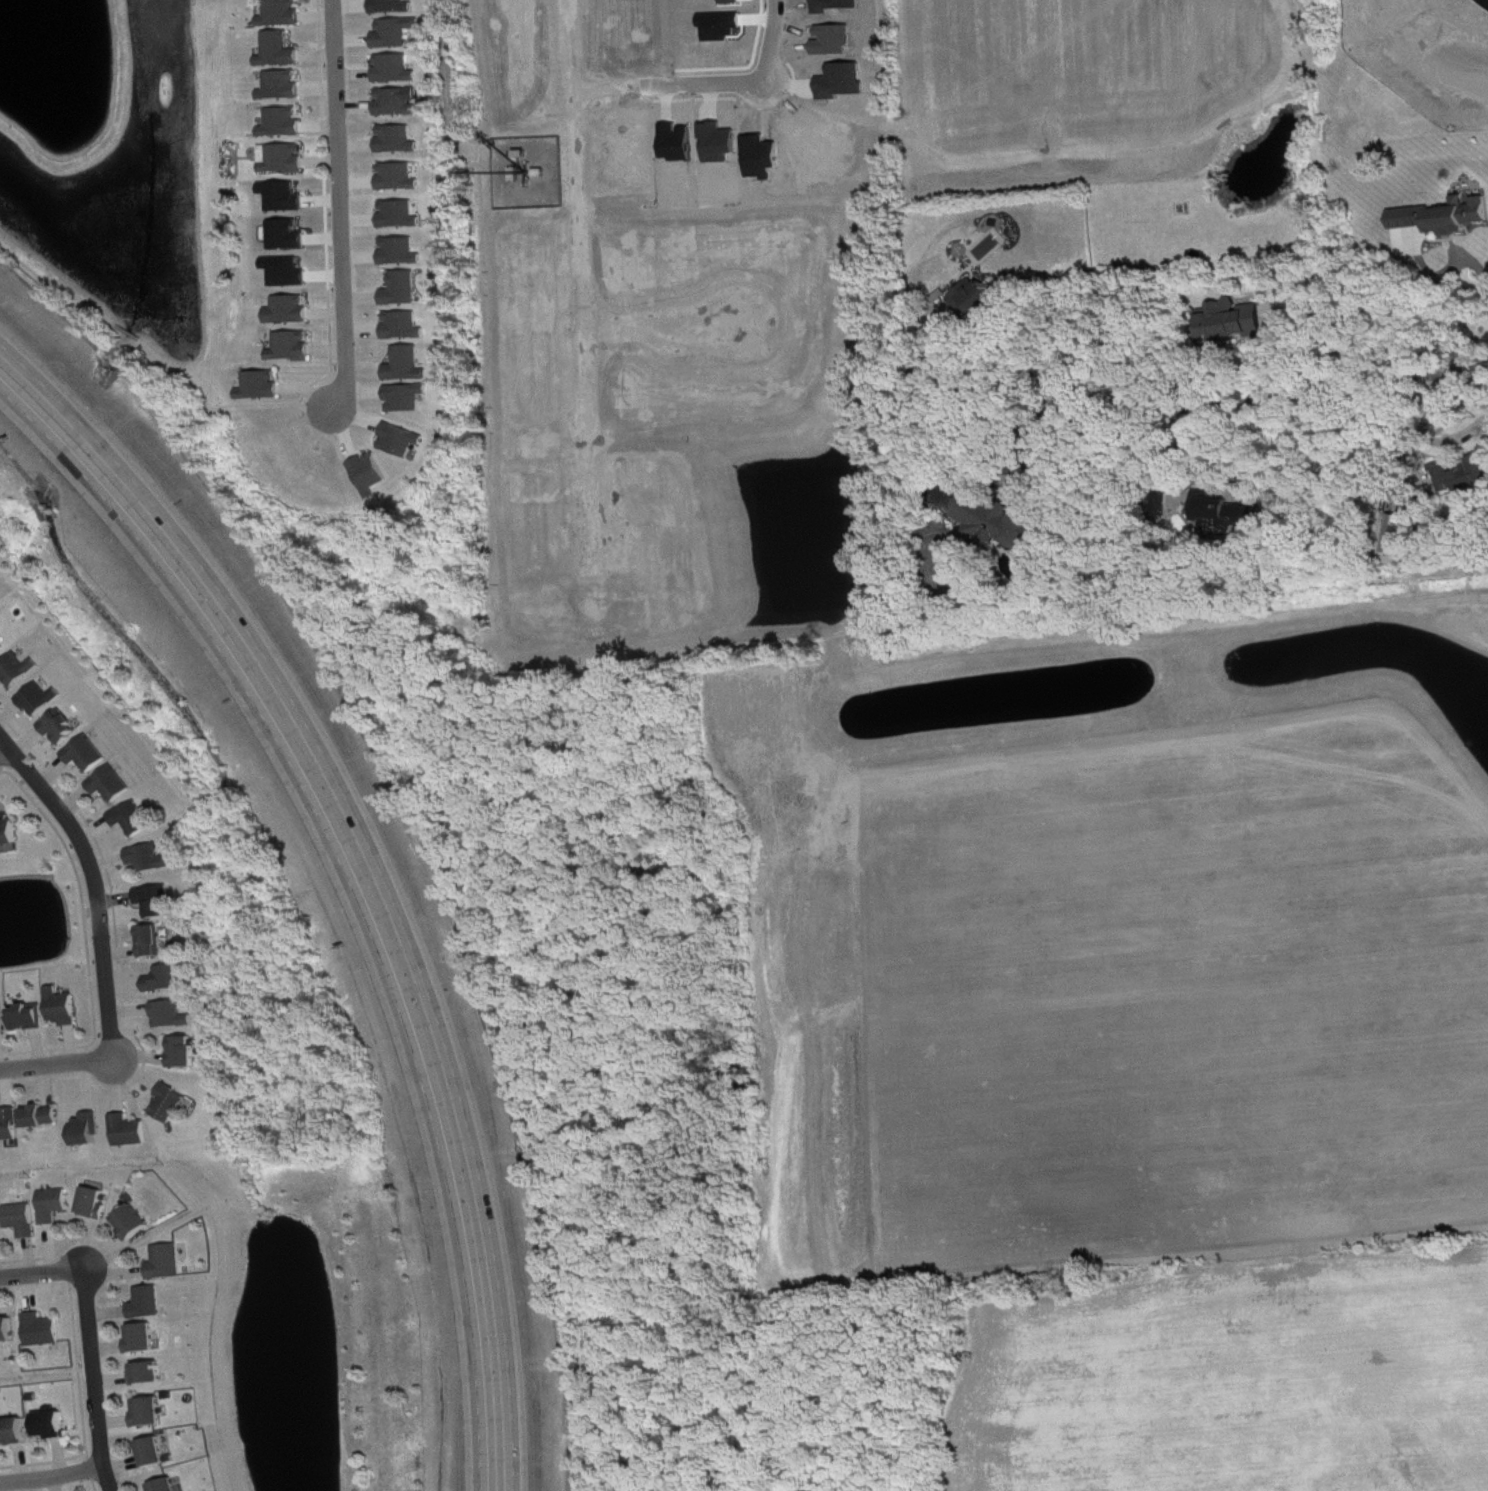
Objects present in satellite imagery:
building: (395, 6)
building: (284, 14)
building: (397, 33)
building: (281, 51)
building: (397, 69)
road: (761, 71)
road: (593, 81)
building: (283, 86)
building: (400, 102)
building: (286, 123)
building: (399, 140)
building: (285, 159)
building: (401, 177)
building: (287, 197)
road: (336, 206)
building: (402, 215)
building: (1445, 217)
building: (290, 235)
building: (403, 252)
building: (405, 289)
road: (1447, 294)
building: (976, 300)
building: (292, 310)
building: (1234, 322)
building: (406, 326)
building: (294, 347)
road: (159, 352)
road: (958, 364)
building: (410, 365)
building: (263, 386)
building: (409, 398)
road: (1256, 402)
road: (1424, 438)
building: (403, 440)
road: (1035, 468)
building: (372, 474)
building: (1464, 476)
building: (998, 520)
building: (1400, 535)
building: (3, 646)
building: (20, 670)
building: (44, 699)
building: (64, 727)
road: (4, 751)
building: (90, 754)
building: (115, 784)
building: (136, 819)
building: (10, 831)
building: (153, 859)
road: (378, 860)
road: (93, 881)
road: (357, 885)
building: (159, 901)
building: (155, 942)
building: (65, 1008)
building: (175, 1016)
building: (32, 1018)
building: (4, 1023)
building: (187, 1052)
road: (57, 1061)
building: (174, 1104)
building: (46, 1117)
building: (12, 1126)
building: (91, 1131)
building: (134, 1132)
building: (96, 1203)
building: (56, 1205)
building: (24, 1220)
building: (136, 1222)
building: (2, 1232)
building: (169, 1262)
road: (42, 1272)
building: (150, 1303)
building: (8, 1330)
building: (44, 1331)
building: (146, 1338)
building: (150, 1374)
road: (94, 1379)
building: (153, 1413)
building: (53, 1424)
building: (14, 1432)
building: (156, 1453)
road: (51, 1479)
building: (170, 1486)

